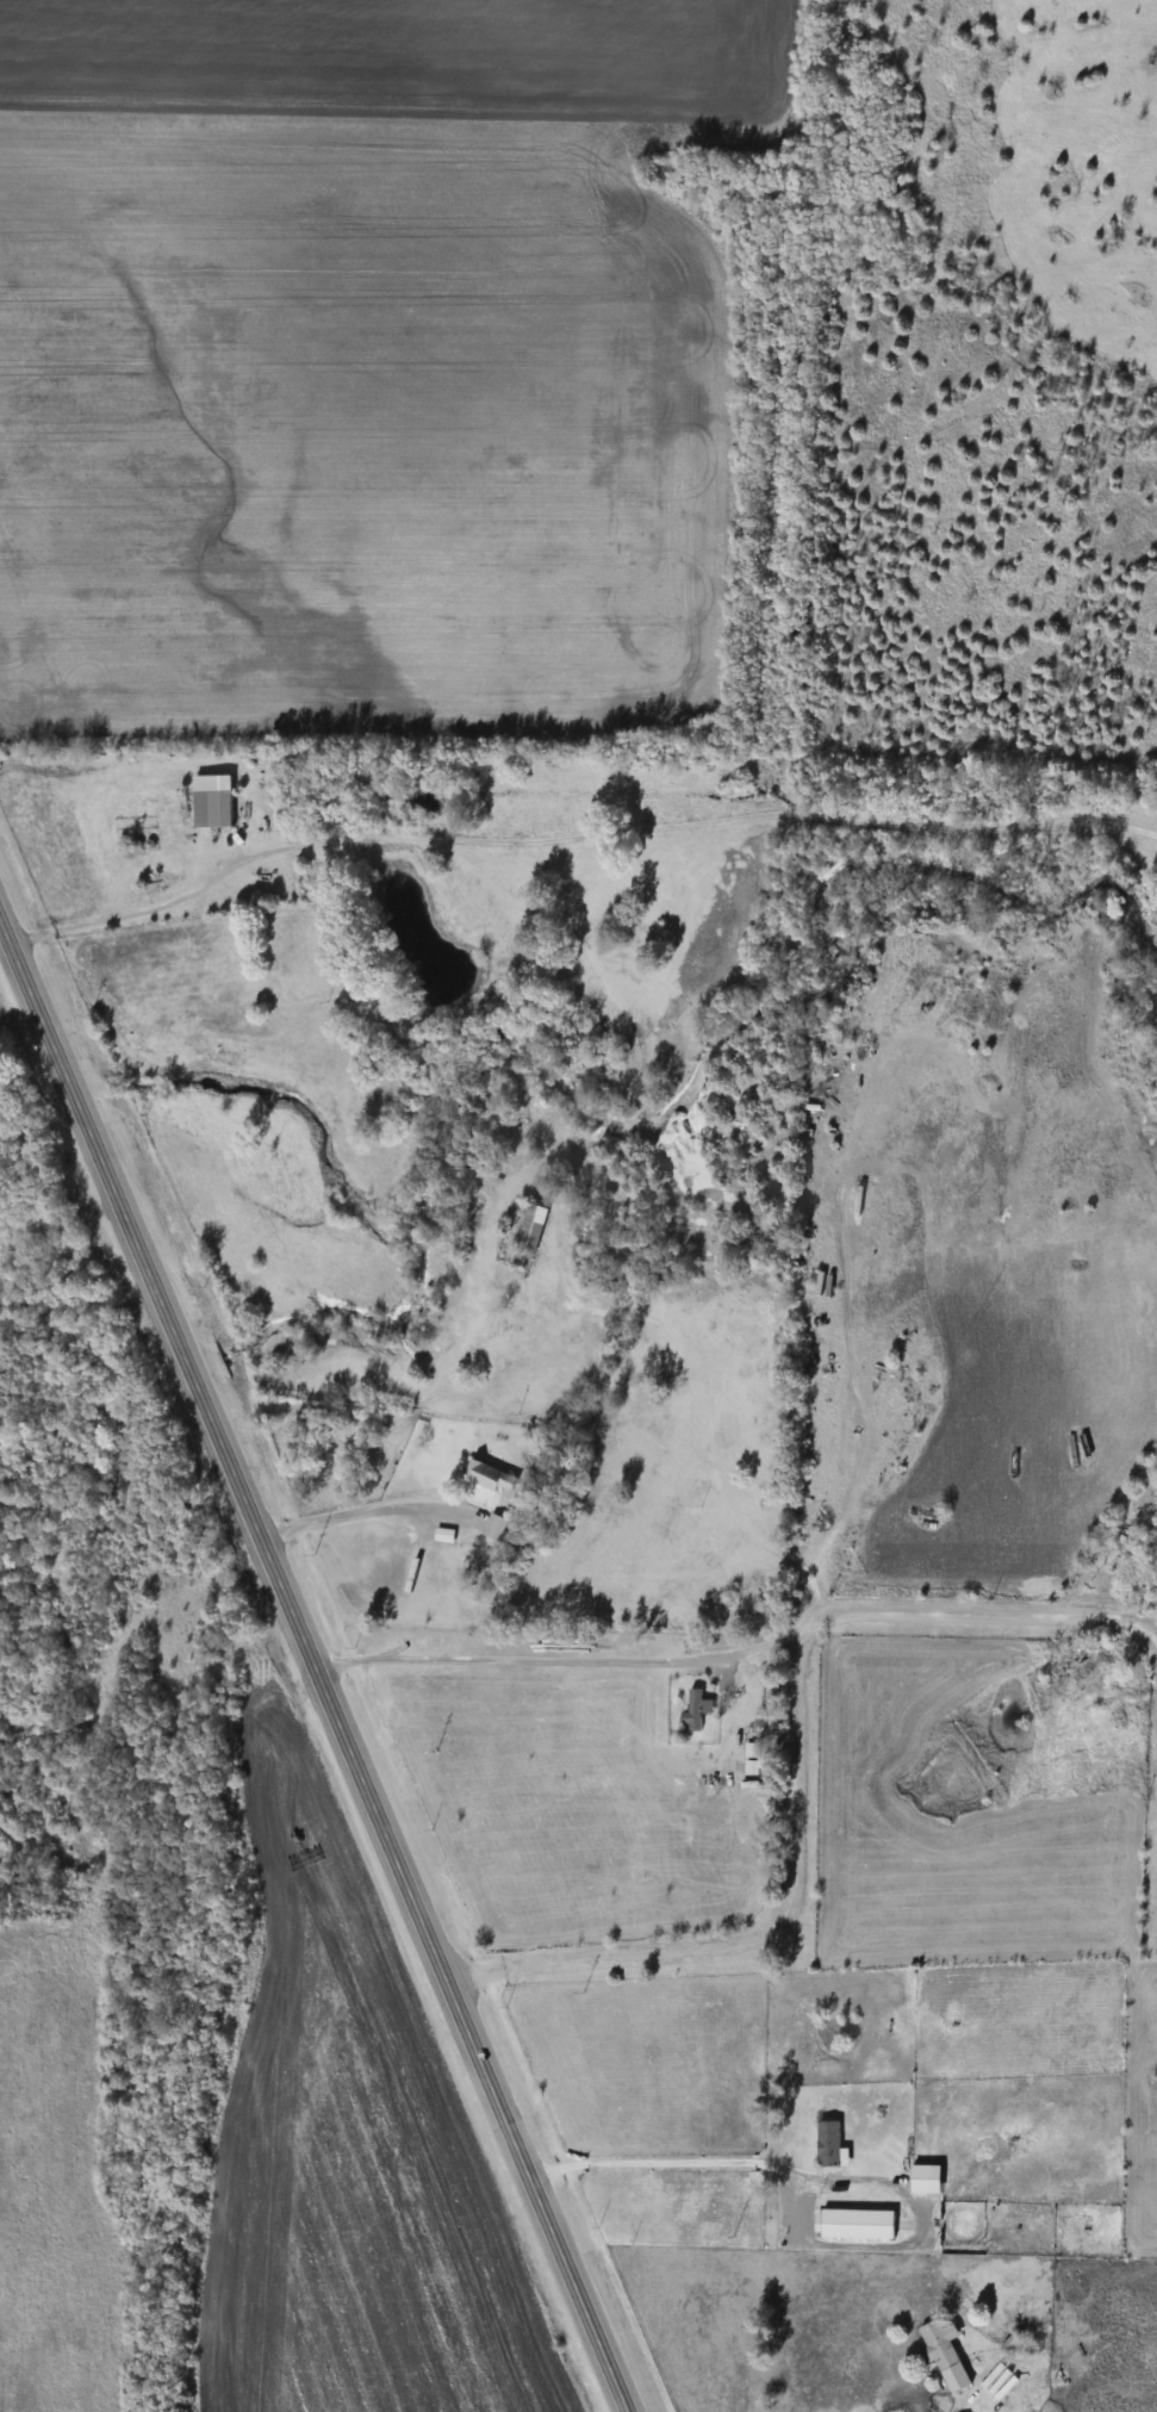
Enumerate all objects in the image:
road: (313, 629)
building: (209, 801)
road: (576, 834)
building: (529, 1229)
road: (858, 1387)
road: (711, 1434)
building: (486, 1479)
road: (353, 1511)
building: (492, 1528)
road: (1153, 1627)
road: (749, 1646)
road: (323, 1660)
building: (691, 1710)
building: (748, 1761)
road: (764, 1938)
building: (826, 2144)
road: (647, 2162)
building: (922, 2178)
building: (957, 2223)
building: (854, 2224)
building: (937, 2345)
building: (1010, 2346)
road: (951, 2411)

